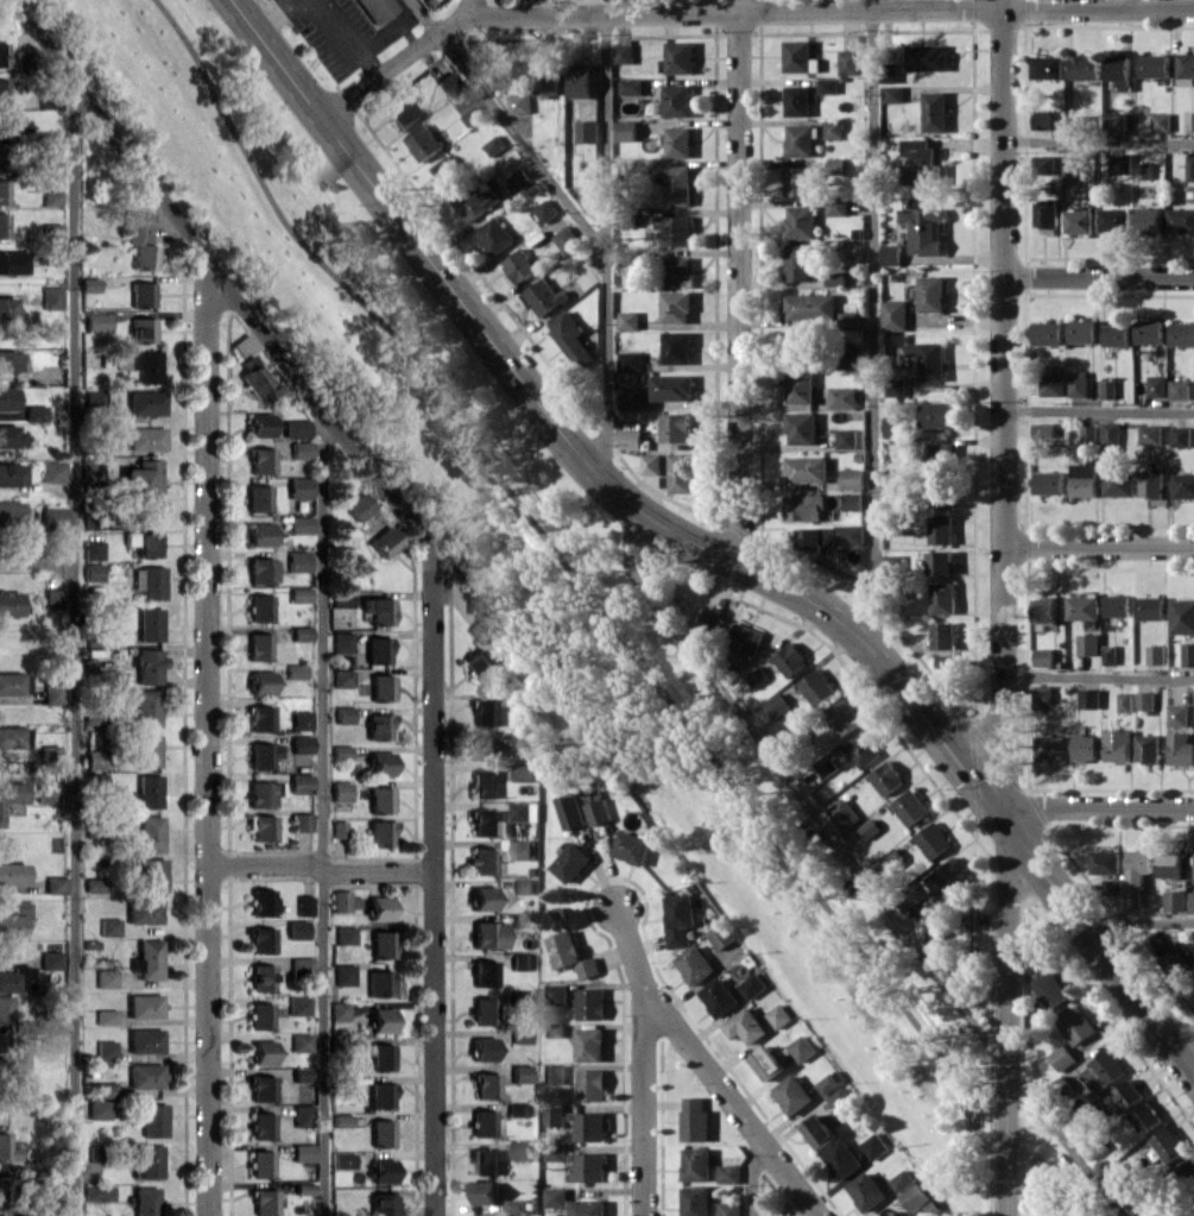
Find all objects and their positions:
road: (1138, 4)
road: (470, 7)
building: (377, 8)
road: (740, 11)
road: (276, 15)
road: (350, 38)
building: (624, 52)
building: (2, 53)
building: (798, 56)
building: (677, 57)
building: (927, 57)
building: (849, 61)
building: (21, 62)
building: (1154, 65)
building: (1047, 67)
building: (1086, 67)
building: (1186, 69)
building: (1119, 70)
building: (511, 75)
building: (547, 78)
building: (580, 80)
building: (448, 82)
building: (631, 86)
building: (828, 86)
building: (2, 90)
building: (892, 93)
building: (677, 100)
building: (797, 100)
building: (519, 102)
building: (935, 111)
building: (403, 112)
building: (472, 115)
building: (1042, 119)
building: (1193, 120)
building: (1117, 121)
building: (1161, 121)
building: (4, 125)
road: (507, 127)
building: (834, 128)
building: (626, 130)
building: (587, 131)
building: (800, 140)
building: (678, 141)
building: (422, 143)
road: (1099, 143)
building: (1047, 162)
building: (0, 163)
building: (920, 163)
building: (1119, 163)
building: (835, 165)
building: (1189, 168)
building: (1143, 170)
building: (447, 172)
building: (1072, 174)
building: (519, 178)
building: (798, 181)
building: (678, 184)
building: (2, 190)
building: (51, 197)
building: (474, 201)
building: (836, 207)
building: (545, 210)
building: (1047, 213)
building: (1114, 219)
building: (1180, 219)
building: (1149, 220)
building: (801, 221)
building: (1079, 221)
building: (4, 225)
building: (51, 229)
building: (675, 229)
building: (924, 229)
building: (494, 235)
building: (564, 239)
building: (141, 240)
road: (606, 251)
building: (891, 253)
building: (12, 262)
building: (798, 262)
building: (627, 264)
building: (519, 265)
building: (677, 271)
road: (1099, 277)
building: (835, 278)
road: (223, 279)
road: (739, 279)
building: (89, 284)
building: (141, 294)
building: (931, 294)
building: (51, 297)
building: (543, 297)
building: (8, 307)
building: (676, 307)
building: (810, 307)
building: (897, 314)
building: (848, 319)
building: (628, 320)
building: (96, 321)
building: (141, 329)
building: (1082, 330)
road: (872, 332)
building: (1149, 332)
building: (1048, 333)
building: (1116, 334)
building: (1182, 334)
building: (570, 338)
building: (242, 344)
building: (676, 347)
building: (929, 359)
building: (7, 360)
building: (631, 360)
building: (140, 364)
building: (253, 373)
building: (1078, 383)
building: (1051, 384)
building: (671, 386)
building: (1156, 386)
building: (800, 388)
building: (1108, 389)
building: (1179, 389)
building: (7, 397)
building: (631, 397)
building: (842, 397)
building: (93, 398)
building: (145, 402)
road: (1100, 410)
building: (36, 412)
building: (937, 414)
building: (260, 423)
building: (892, 426)
building: (296, 427)
building: (675, 427)
building: (801, 428)
building: (1042, 429)
building: (1111, 433)
building: (1087, 434)
building: (1148, 434)
building: (11, 435)
building: (1181, 436)
building: (145, 437)
building: (630, 437)
building: (846, 437)
building: (301, 449)
building: (941, 456)
building: (261, 460)
building: (650, 464)
building: (90, 468)
building: (807, 468)
building: (52, 471)
building: (678, 473)
building: (11, 474)
building: (141, 477)
building: (852, 478)
building: (1082, 479)
building: (1048, 483)
building: (1119, 483)
building: (1183, 485)
building: (299, 486)
building: (258, 497)
building: (852, 500)
building: (359, 505)
building: (804, 508)
building: (11, 511)
building: (149, 511)
building: (53, 517)
building: (299, 523)
building: (941, 529)
building: (260, 534)
building: (827, 536)
building: (385, 541)
building: (145, 542)
road: (1100, 542)
road: (705, 543)
building: (93, 549)
road: (37, 560)
building: (298, 560)
building: (893, 561)
building: (940, 561)
building: (260, 569)
building: (93, 571)
building: (149, 581)
building: (299, 594)
building: (943, 597)
building: (53, 598)
building: (342, 599)
building: (10, 603)
building: (1117, 605)
building: (1082, 606)
building: (260, 607)
road: (1006, 607)
building: (1150, 607)
building: (379, 610)
building: (1044, 610)
building: (1182, 616)
road: (606, 618)
building: (708, 620)
building: (149, 623)
building: (481, 629)
building: (301, 632)
building: (943, 636)
building: (744, 638)
building: (341, 641)
building: (1087, 644)
building: (259, 645)
road: (74, 649)
building: (378, 649)
building: (1108, 654)
building: (1155, 654)
building: (1188, 654)
building: (1043, 656)
building: (789, 659)
building: (945, 660)
building: (147, 664)
building: (478, 664)
building: (295, 670)
road: (1100, 675)
building: (342, 676)
building: (756, 676)
building: (261, 681)
building: (13, 682)
building: (381, 687)
building: (816, 687)
building: (52, 693)
building: (1041, 694)
building: (1088, 698)
building: (1144, 700)
building: (1124, 701)
building: (776, 704)
building: (146, 706)
building: (485, 711)
building: (343, 714)
building: (1176, 714)
building: (260, 717)
building: (841, 717)
building: (301, 719)
building: (378, 725)
building: (13, 736)
road: (206, 736)
building: (524, 739)
building: (301, 743)
building: (1117, 745)
building: (482, 748)
building: (1051, 748)
building: (1086, 748)
building: (1148, 748)
building: (863, 749)
building: (1180, 749)
building: (146, 750)
building: (49, 751)
building: (340, 751)
building: (263, 754)
building: (95, 758)
building: (380, 763)
building: (523, 773)
building: (886, 777)
building: (94, 781)
building: (299, 782)
building: (484, 783)
building: (341, 790)
building: (46, 792)
building: (145, 792)
building: (12, 793)
building: (259, 794)
building: (380, 799)
building: (595, 807)
building: (910, 807)
road: (1094, 808)
building: (524, 811)
building: (569, 811)
road: (321, 813)
building: (842, 813)
building: (302, 821)
building: (484, 821)
building: (261, 826)
building: (337, 828)
building: (870, 828)
building: (380, 832)
building: (147, 833)
building: (933, 840)
building: (632, 848)
building: (499, 853)
building: (570, 862)
building: (1105, 862)
building: (1170, 864)
road: (318, 867)
road: (857, 869)
building: (12, 872)
building: (151, 874)
building: (1136, 875)
building: (946, 877)
building: (53, 884)
building: (94, 884)
building: (523, 886)
building: (1112, 887)
road: (432, 889)
building: (484, 897)
building: (343, 900)
building: (1175, 900)
building: (261, 901)
building: (1192, 901)
building: (303, 905)
building: (379, 907)
building: (143, 911)
building: (678, 918)
building: (13, 919)
building: (520, 920)
road: (1137, 922)
building: (108, 926)
building: (296, 928)
building: (488, 933)
building: (345, 934)
building: (721, 935)
building: (261, 939)
building: (1155, 943)
building: (381, 944)
building: (570, 953)
building: (147, 958)
building: (50, 959)
building: (520, 960)
building: (1174, 962)
building: (694, 964)
building: (301, 965)
building: (485, 972)
building: (343, 974)
building: (105, 977)
building: (260, 977)
building: (14, 978)
building: (378, 982)
building: (752, 985)
building: (1050, 989)
building: (555, 994)
building: (719, 996)
building: (590, 1003)
building: (144, 1004)
building: (298, 1004)
building: (5, 1009)
building: (339, 1010)
building: (485, 1010)
building: (260, 1015)
building: (778, 1015)
building: (105, 1016)
building: (381, 1020)
building: (1075, 1025)
building: (745, 1026)
building: (555, 1031)
building: (520, 1035)
road: (1181, 1037)
building: (144, 1039)
building: (299, 1041)
building: (589, 1044)
building: (484, 1047)
building: (105, 1048)
building: (802, 1048)
building: (263, 1052)
building: (381, 1056)
building: (1061, 1057)
road: (643, 1060)
building: (12, 1063)
building: (765, 1063)
building: (1107, 1065)
building: (520, 1072)
building: (301, 1073)
building: (554, 1073)
building: (145, 1075)
building: (829, 1082)
building: (590, 1084)
building: (486, 1085)
building: (20, 1086)
building: (261, 1086)
building: (105, 1088)
building: (792, 1094)
building: (1127, 1094)
building: (381, 1095)
building: (839, 1097)
road: (731, 1098)
building: (97, 1108)
building: (517, 1109)
building: (302, 1115)
building: (554, 1115)
building: (1146, 1117)
building: (152, 1120)
building: (341, 1120)
building: (694, 1120)
building: (484, 1122)
building: (261, 1124)
building: (588, 1126)
building: (817, 1130)
building: (381, 1132)
building: (1168, 1143)
building: (873, 1146)
building: (6, 1147)
building: (1076, 1148)
building: (520, 1149)
building: (95, 1152)
building: (302, 1152)
building: (554, 1153)
building: (343, 1158)
building: (841, 1159)
building: (149, 1160)
building: (485, 1160)
building: (260, 1163)
building: (696, 1164)
building: (588, 1166)
building: (383, 1170)
building: (1187, 1171)
building: (728, 1173)
road: (753, 1178)
building: (902, 1179)
building: (4, 1186)
building: (303, 1187)
building: (866, 1190)
building: (97, 1191)
building: (485, 1192)
building: (555, 1197)
building: (914, 1197)
building: (144, 1201)
building: (264, 1201)
building: (695, 1201)
building: (381, 1204)
building: (516, 1204)
building: (587, 1208)
building: (728, 1208)
building: (891, 1214)
building: (510, 1215)

